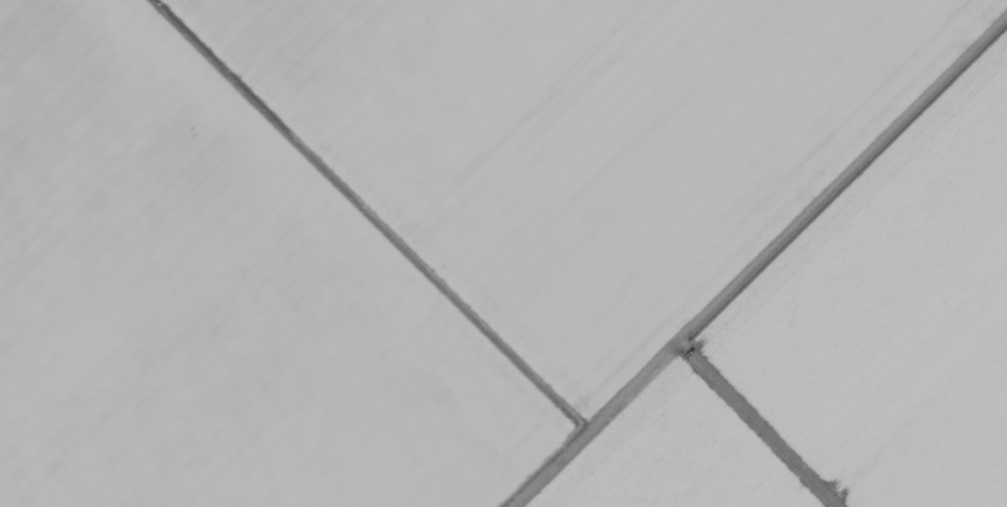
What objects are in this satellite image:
crop: (503, 253)

